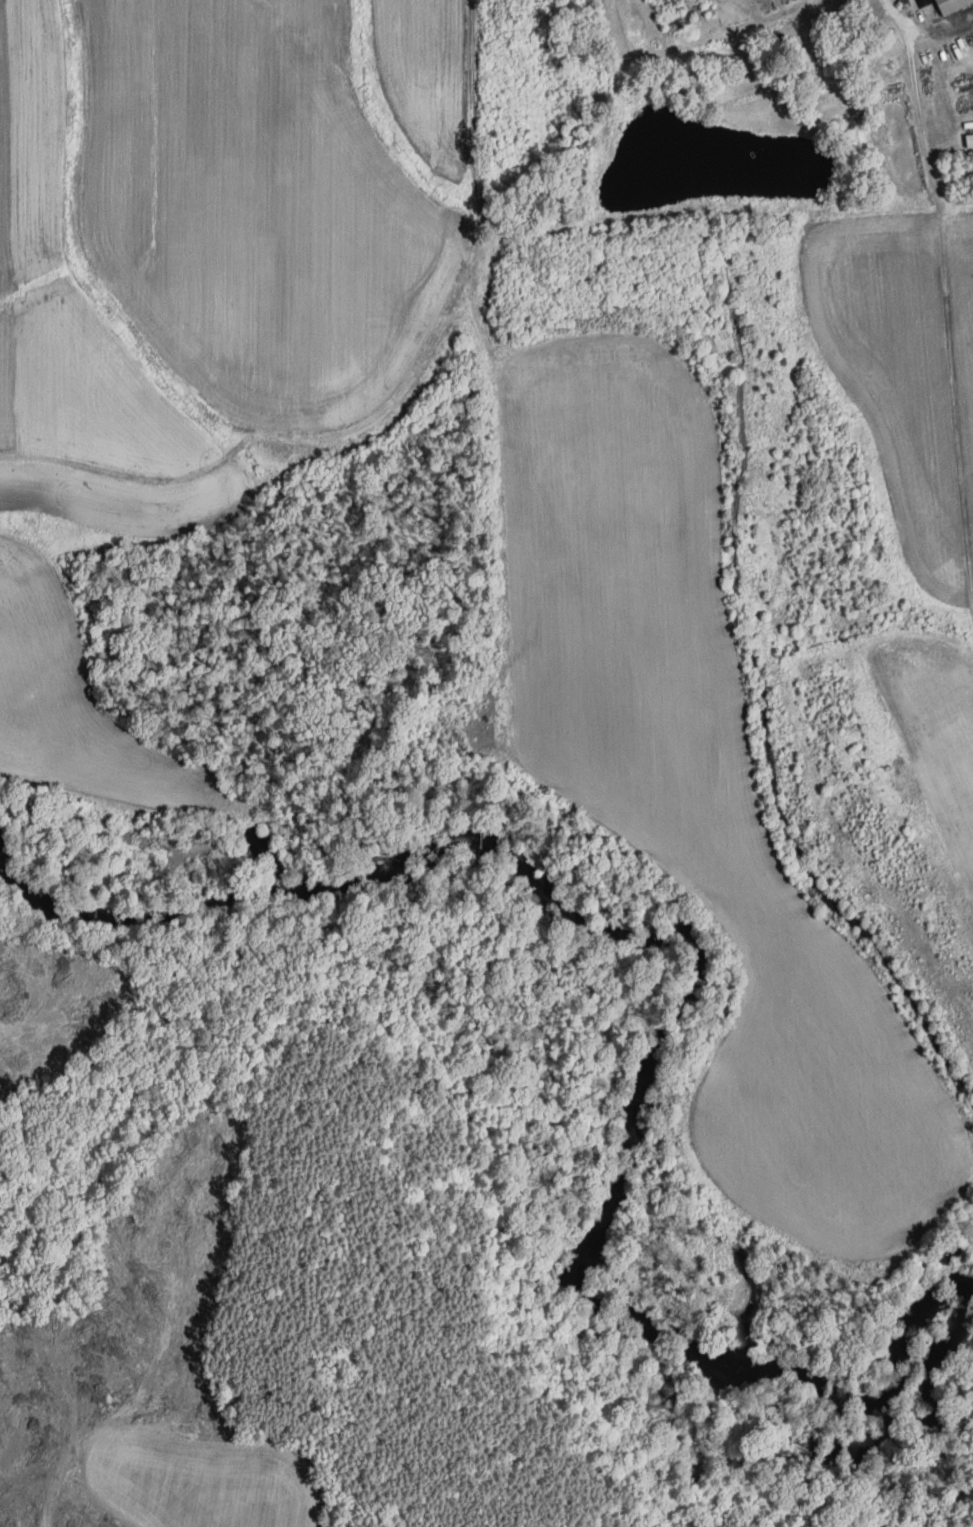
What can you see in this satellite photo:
building: (768, 6)
road: (907, 23)
building: (968, 141)

